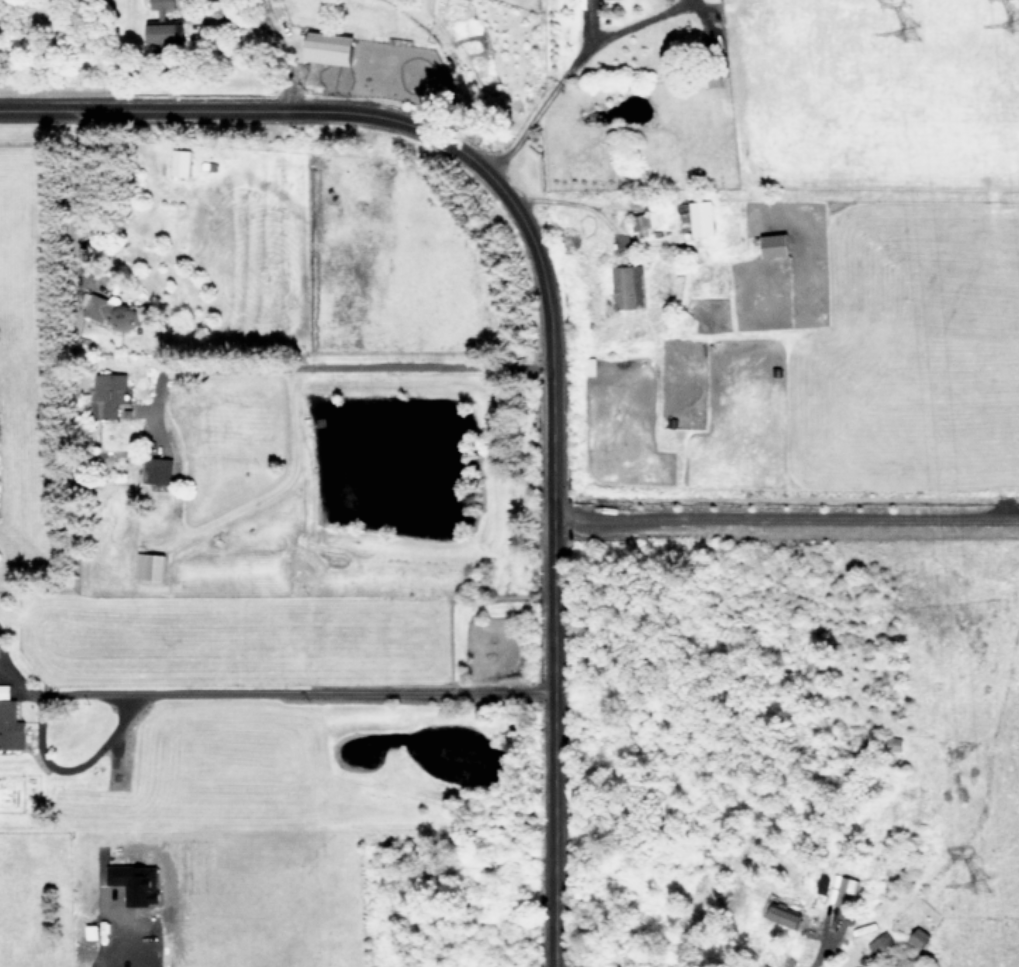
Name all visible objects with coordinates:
building: (161, 23)
power tower: (924, 39)
building: (328, 48)
road: (558, 63)
road: (84, 189)
road: (562, 195)
building: (701, 218)
building: (646, 222)
building: (774, 245)
building: (628, 287)
road: (541, 308)
building: (119, 316)
road: (318, 359)
building: (589, 366)
building: (113, 384)
building: (157, 470)
road: (784, 513)
building: (149, 566)
road: (298, 693)
building: (9, 721)
building: (135, 882)
building: (842, 891)
power tower: (985, 891)
building: (783, 915)
road: (819, 937)
building: (918, 937)
road: (104, 944)

